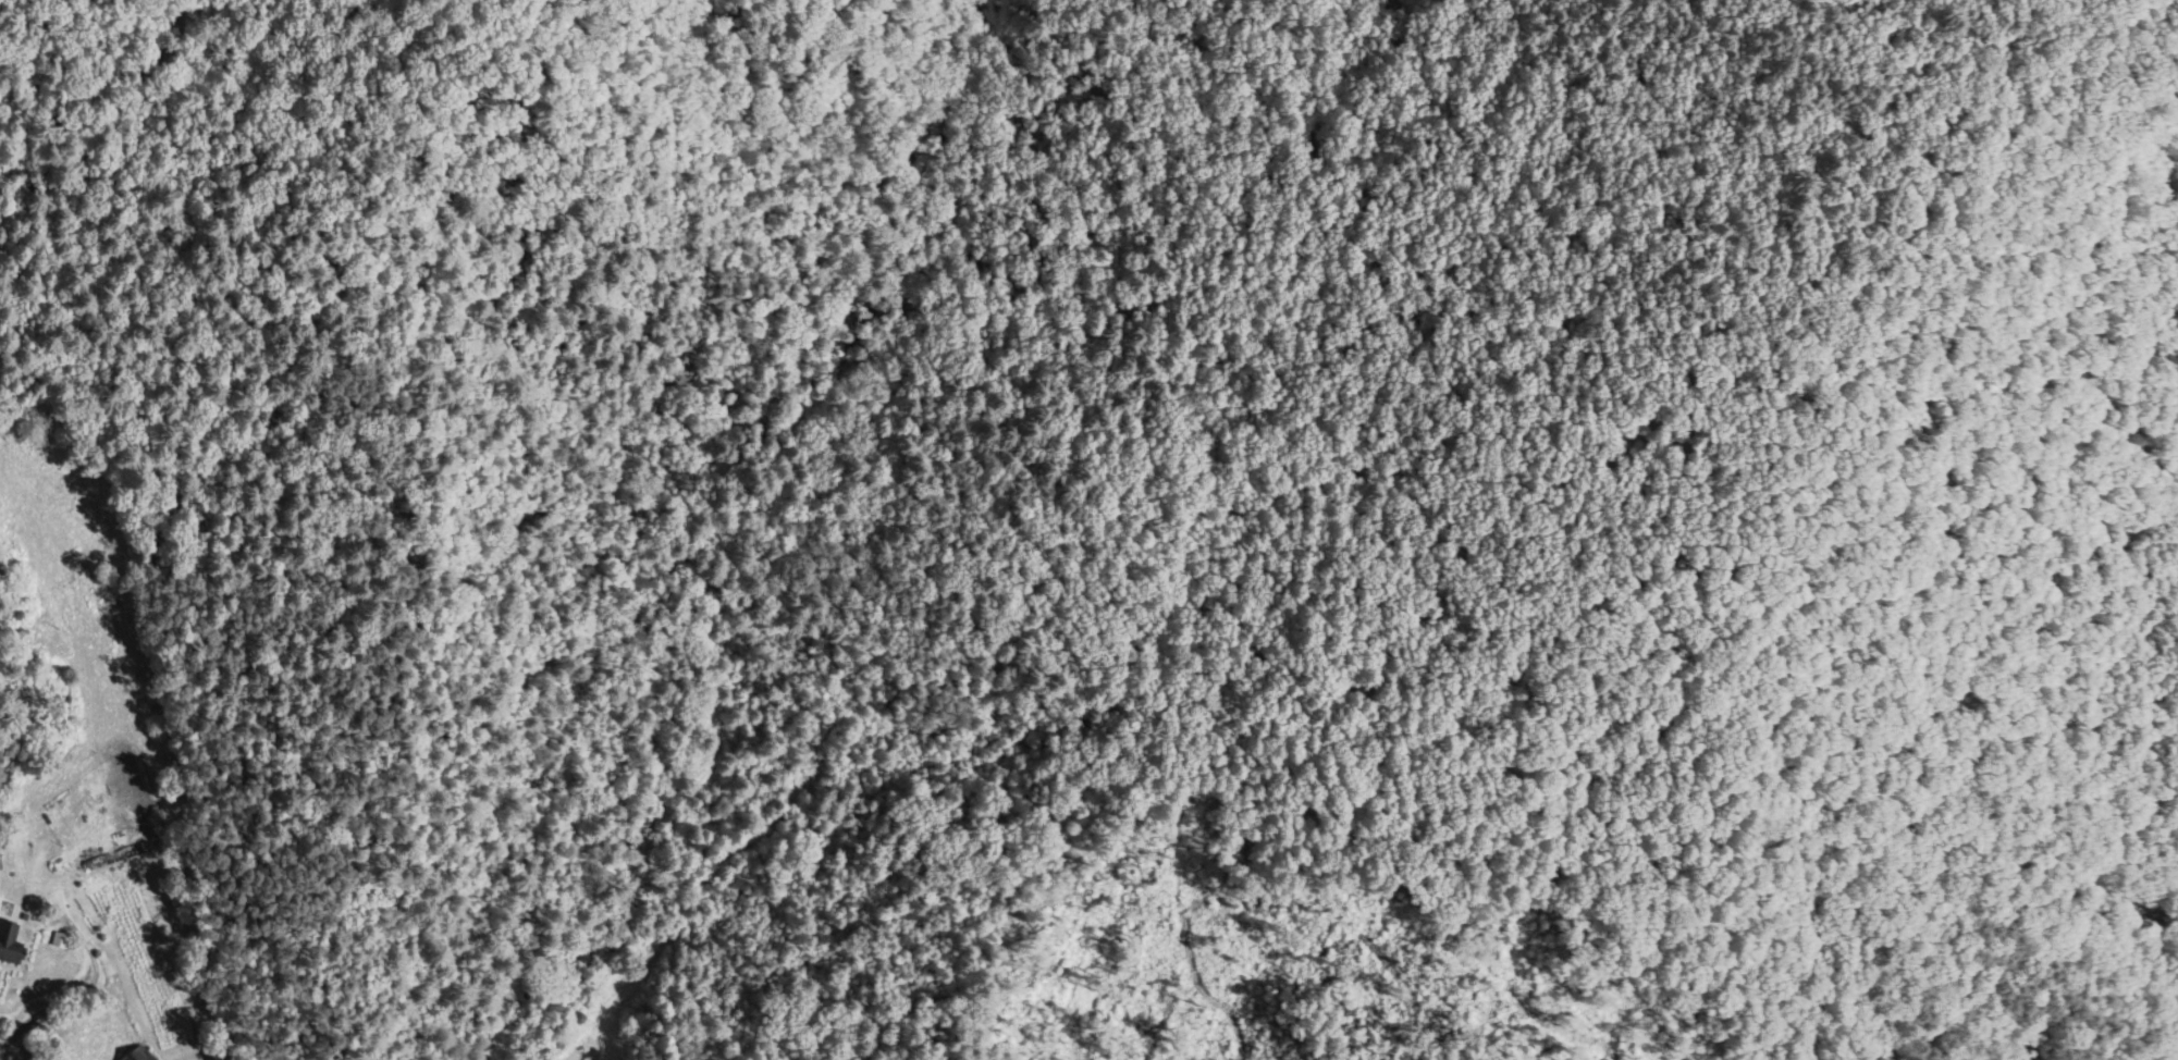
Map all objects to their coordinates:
building: (7, 945)
building: (131, 1053)
road: (0, 1059)

